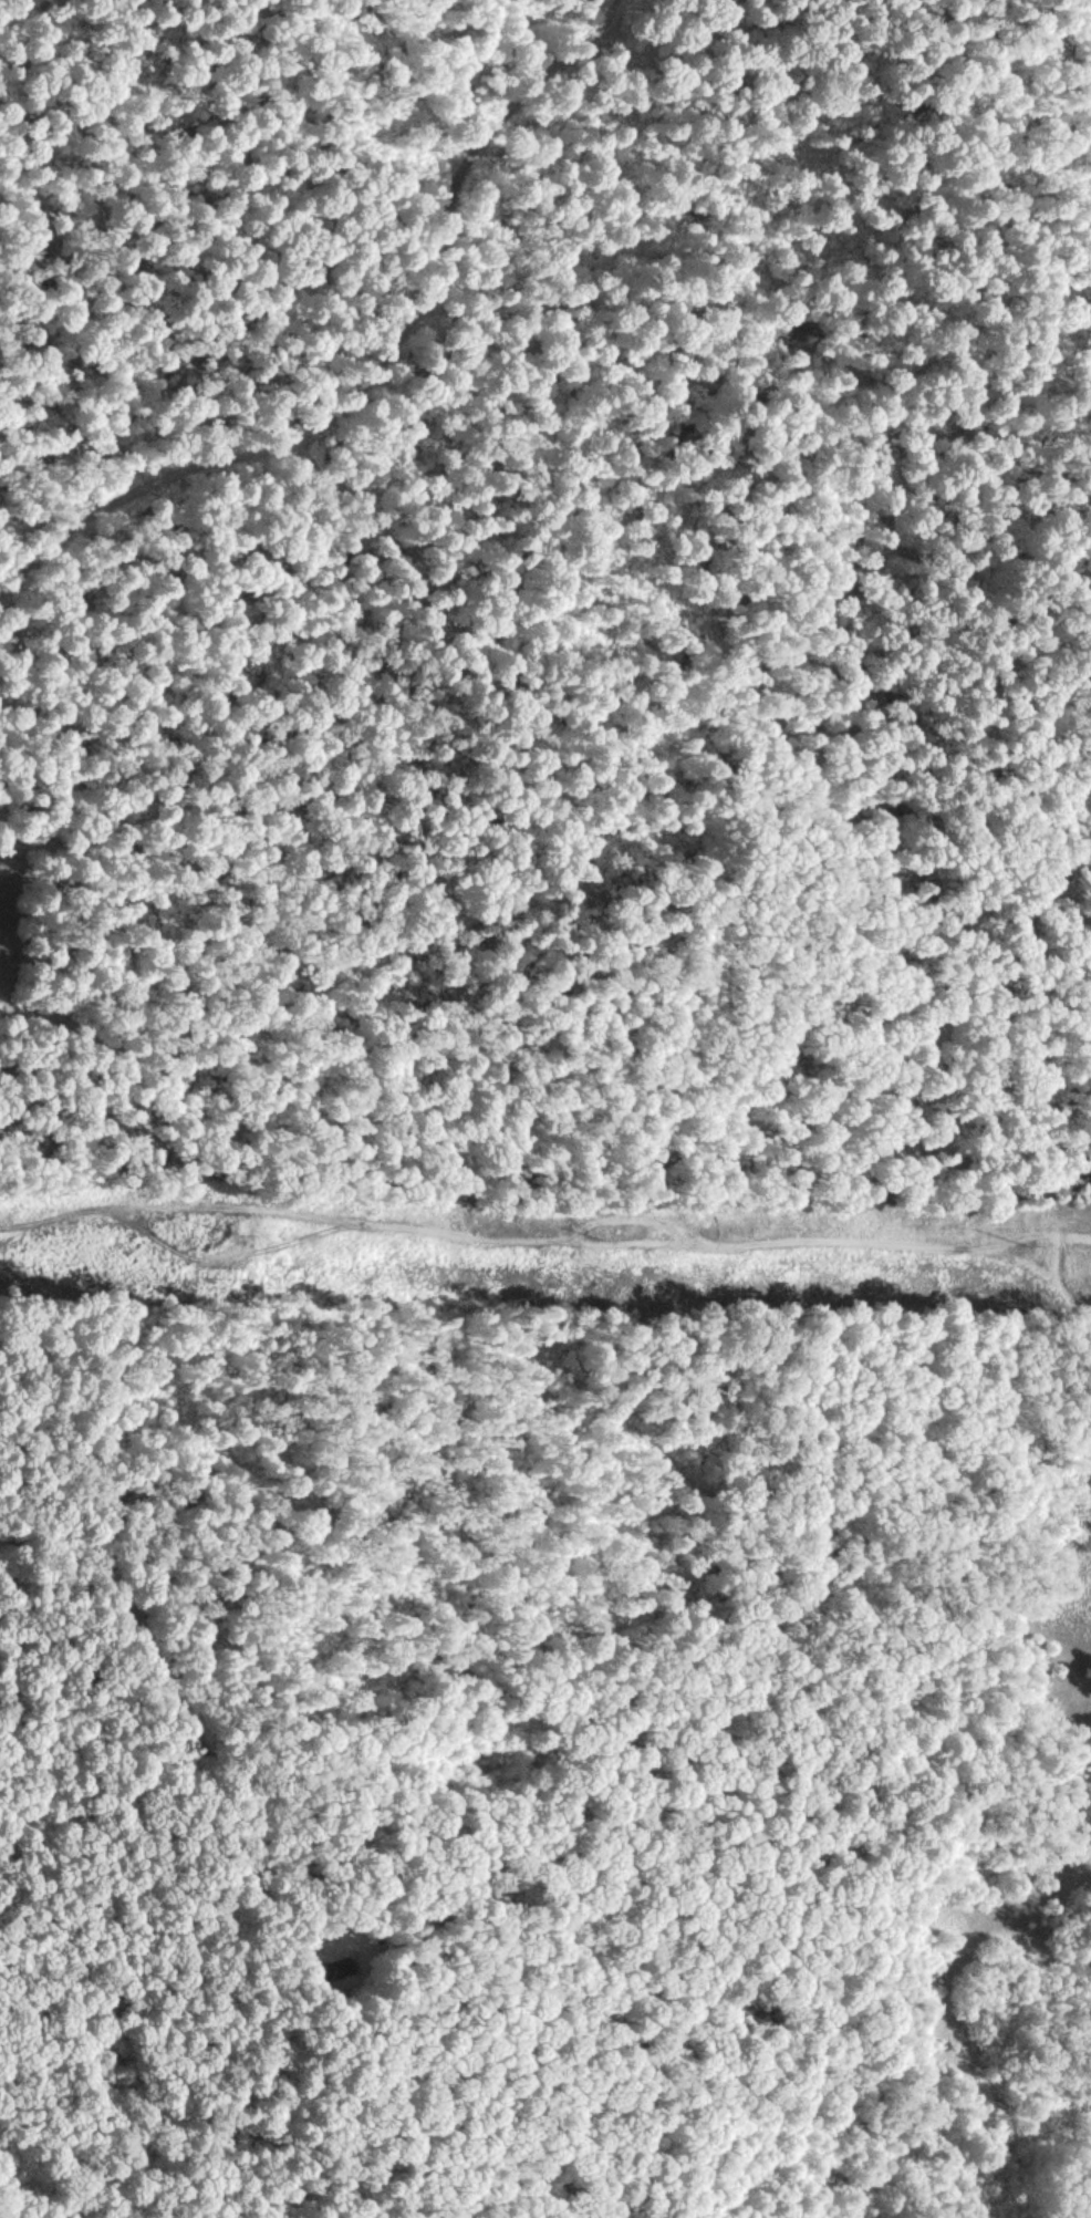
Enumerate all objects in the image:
road: (375, 367)
road: (129, 1617)
building: (330, 1969)
road: (30, 2193)

